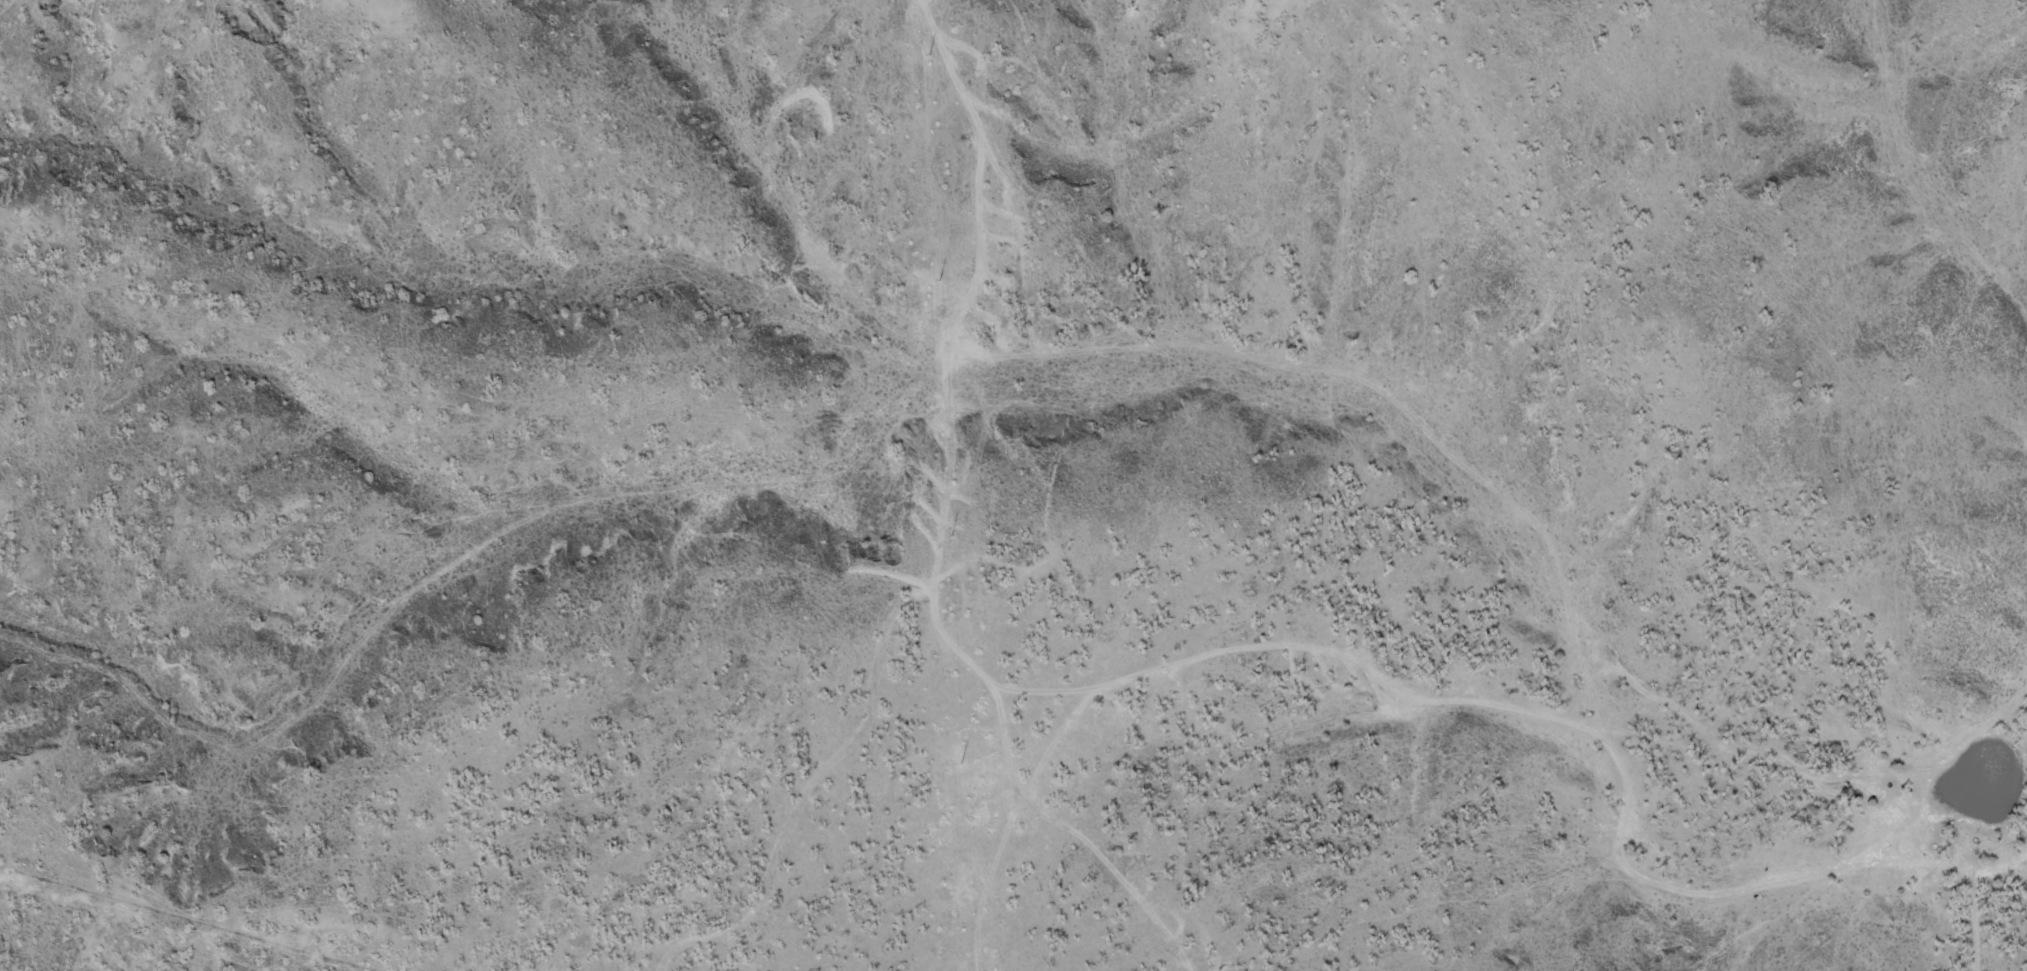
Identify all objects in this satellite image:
road: (1974, 916)

